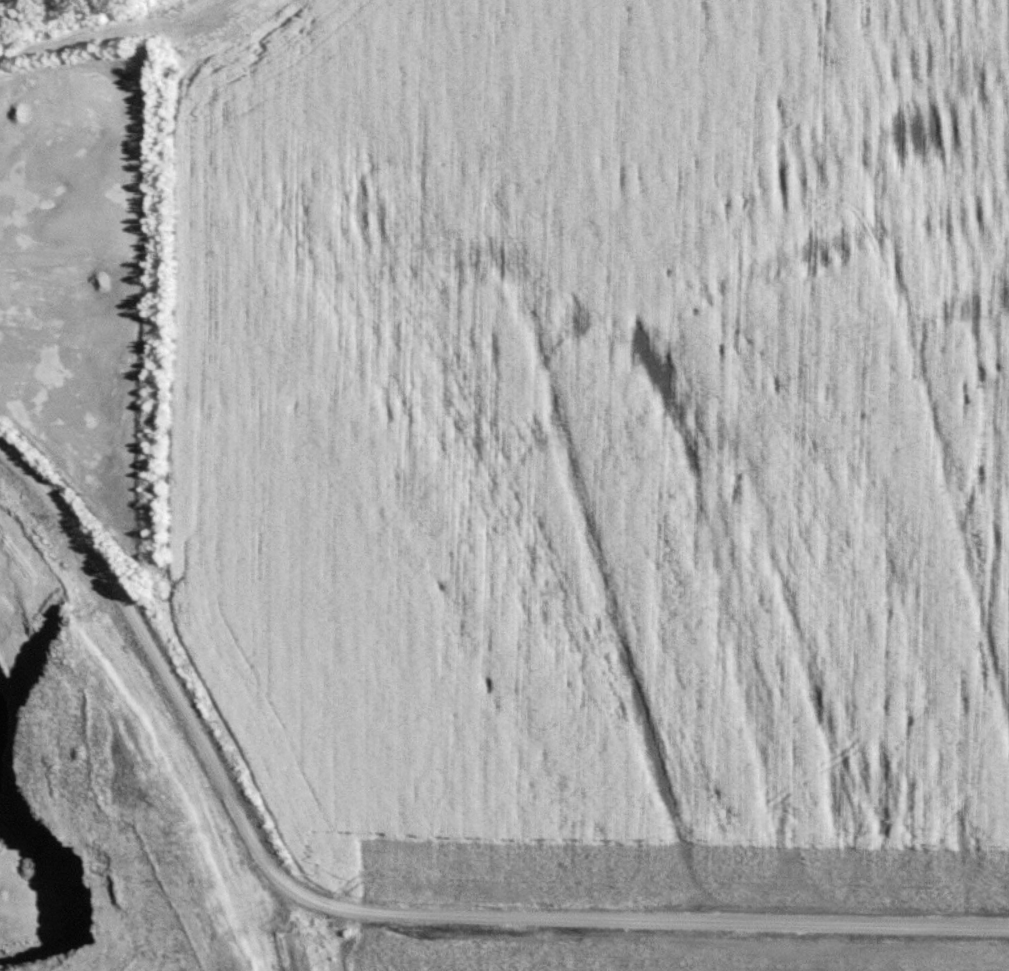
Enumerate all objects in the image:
road: (380, 913)

